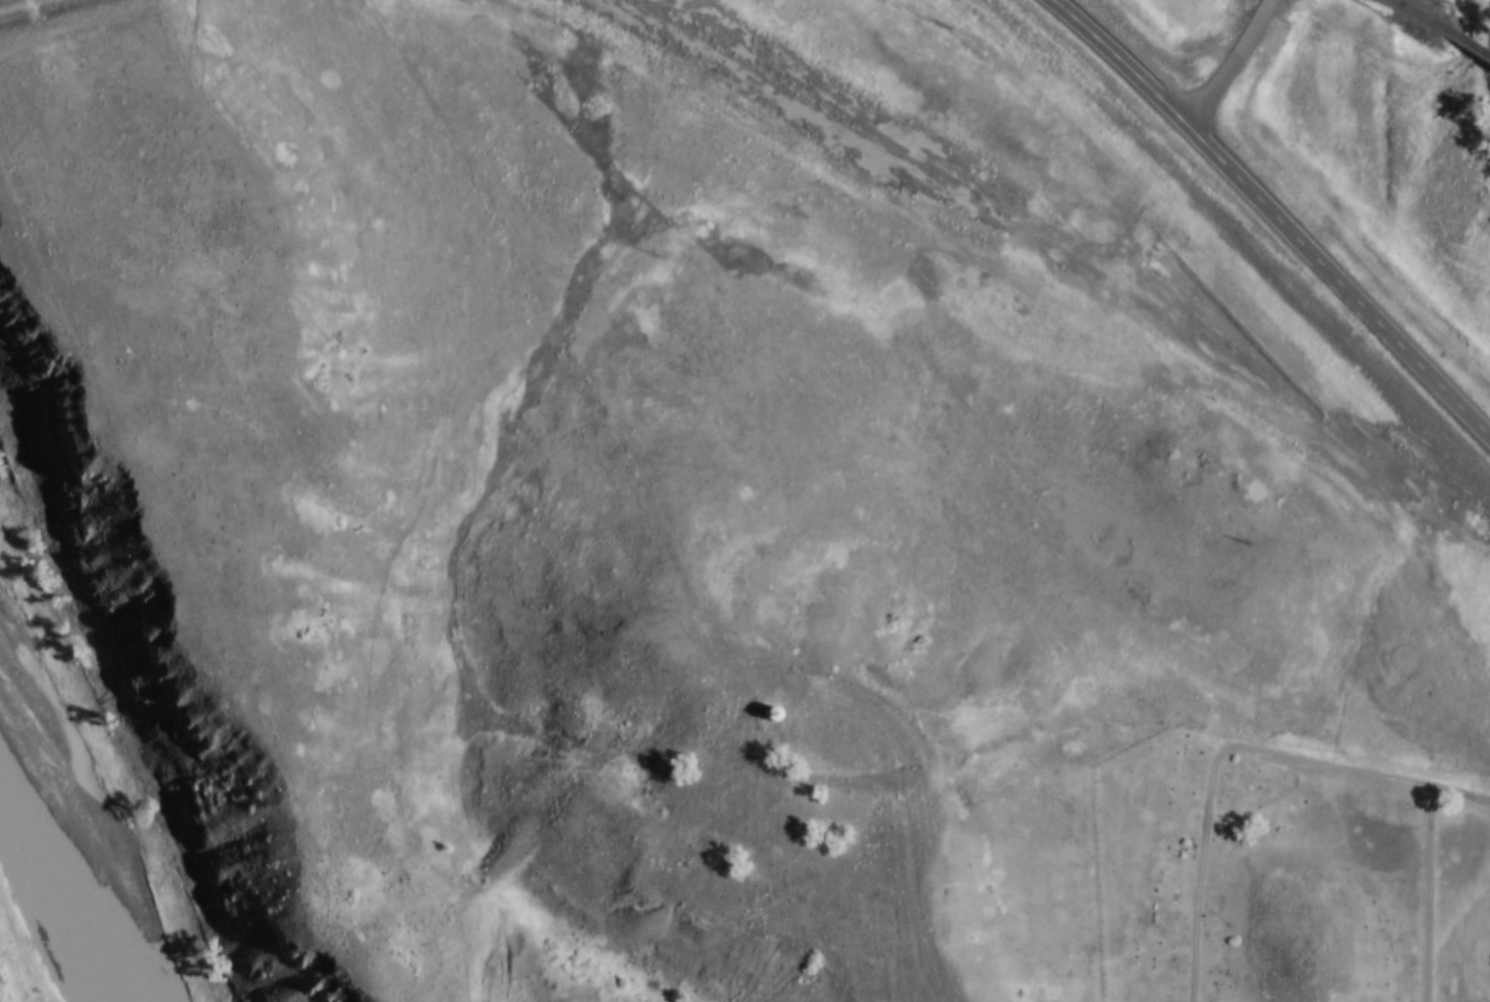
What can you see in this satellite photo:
railway: (1443, 28)
road: (1228, 63)
road: (1273, 213)
water tower: (761, 701)
road: (1233, 750)
river: (60, 879)
road: (1429, 894)

